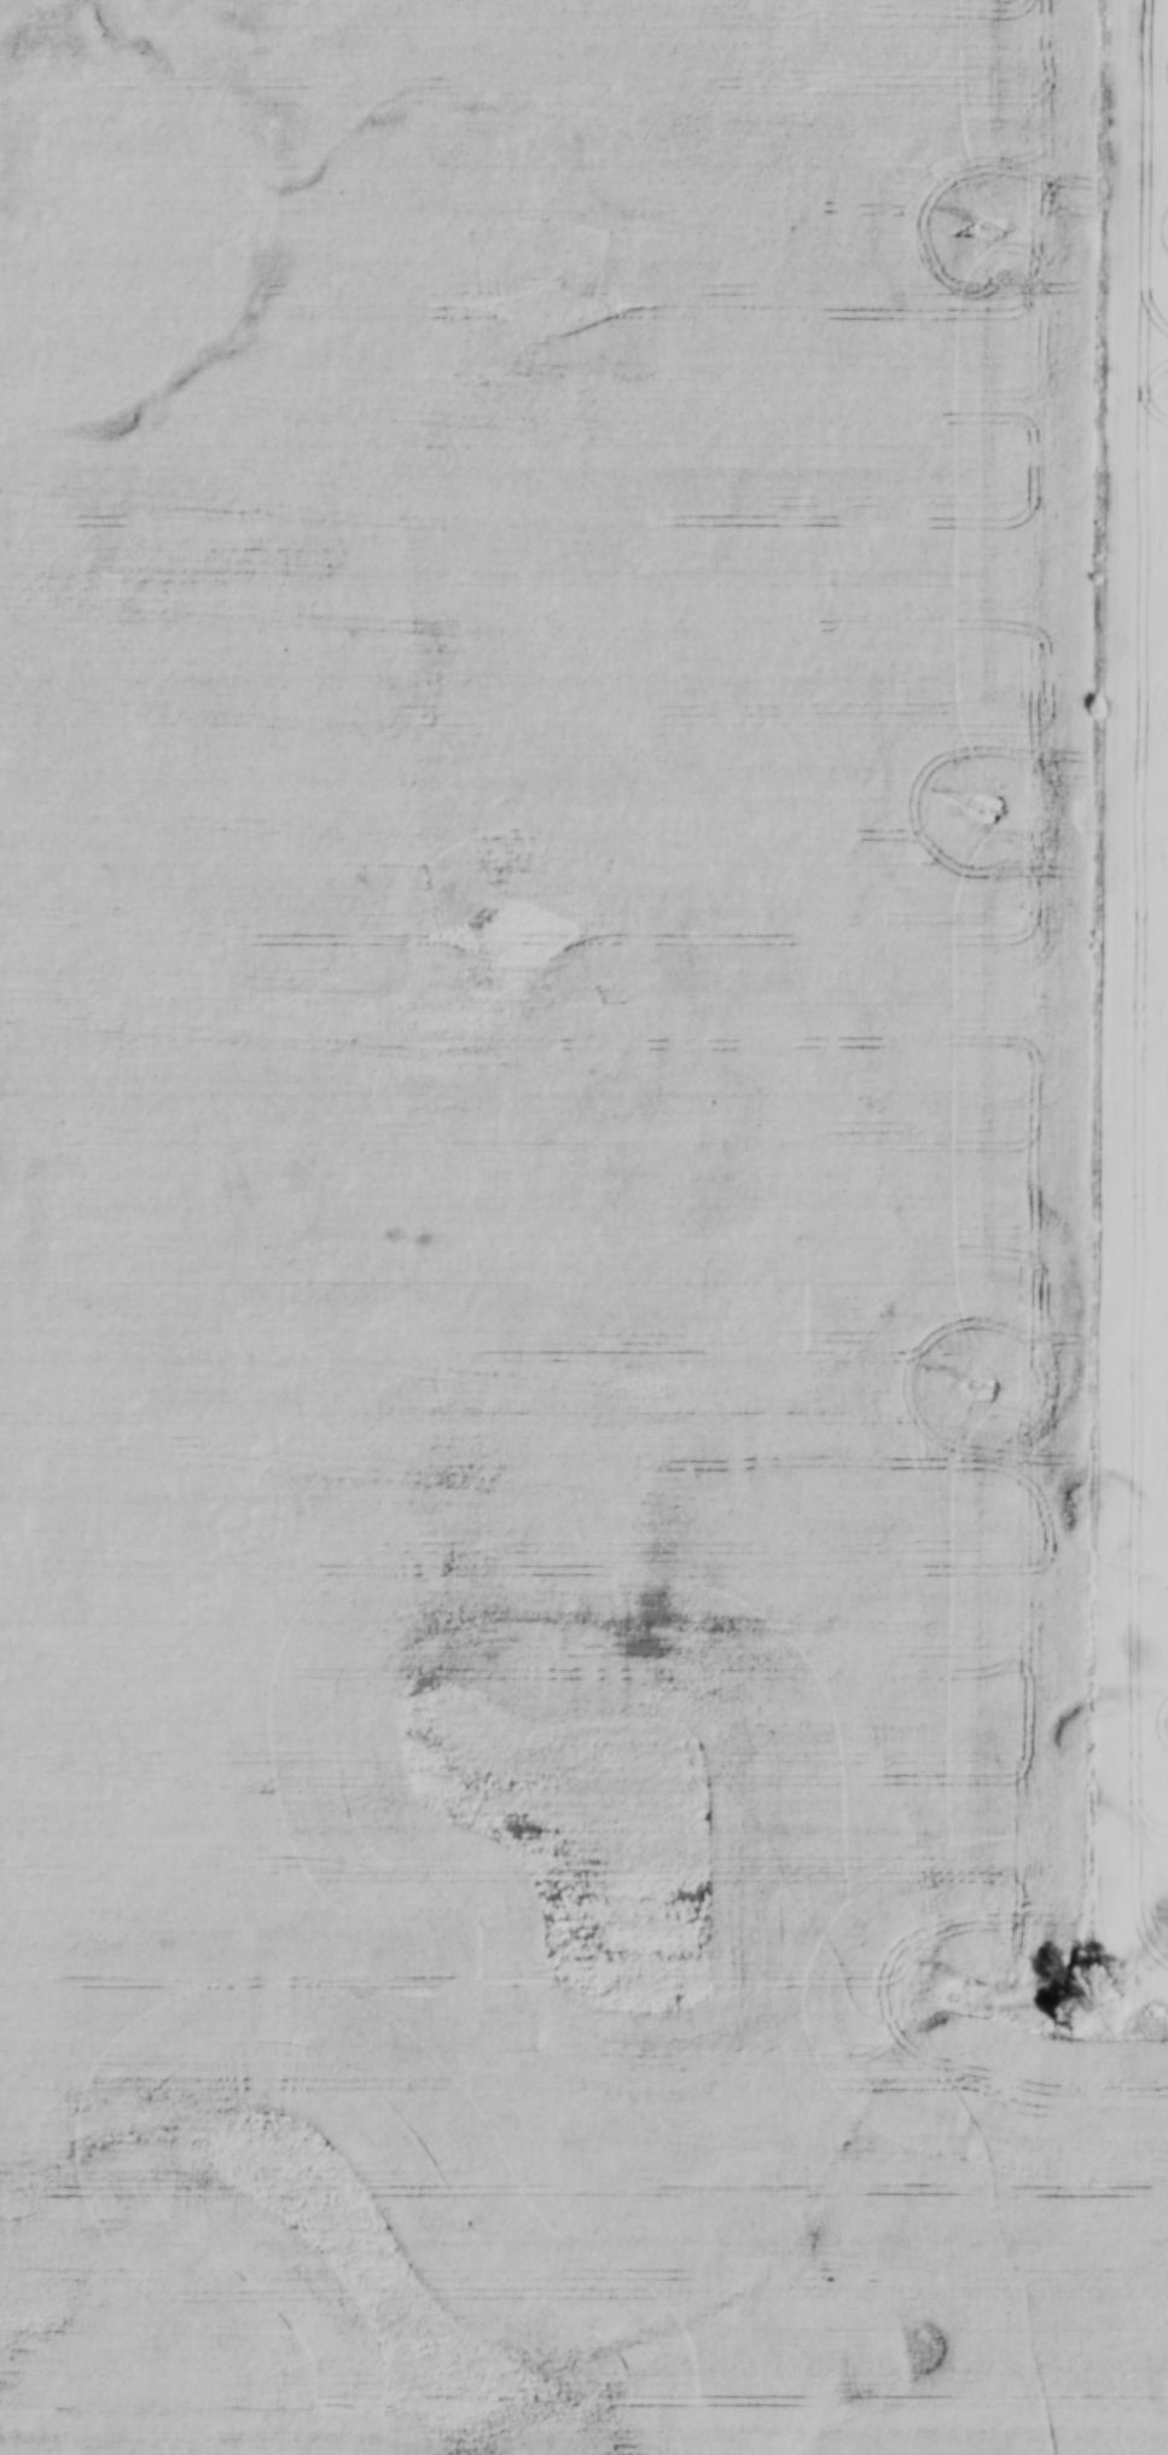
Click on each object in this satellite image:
power tower: (996, 227)
power tower: (993, 809)
power tower: (984, 1387)
power tower: (982, 1984)
river: (499, 2404)

